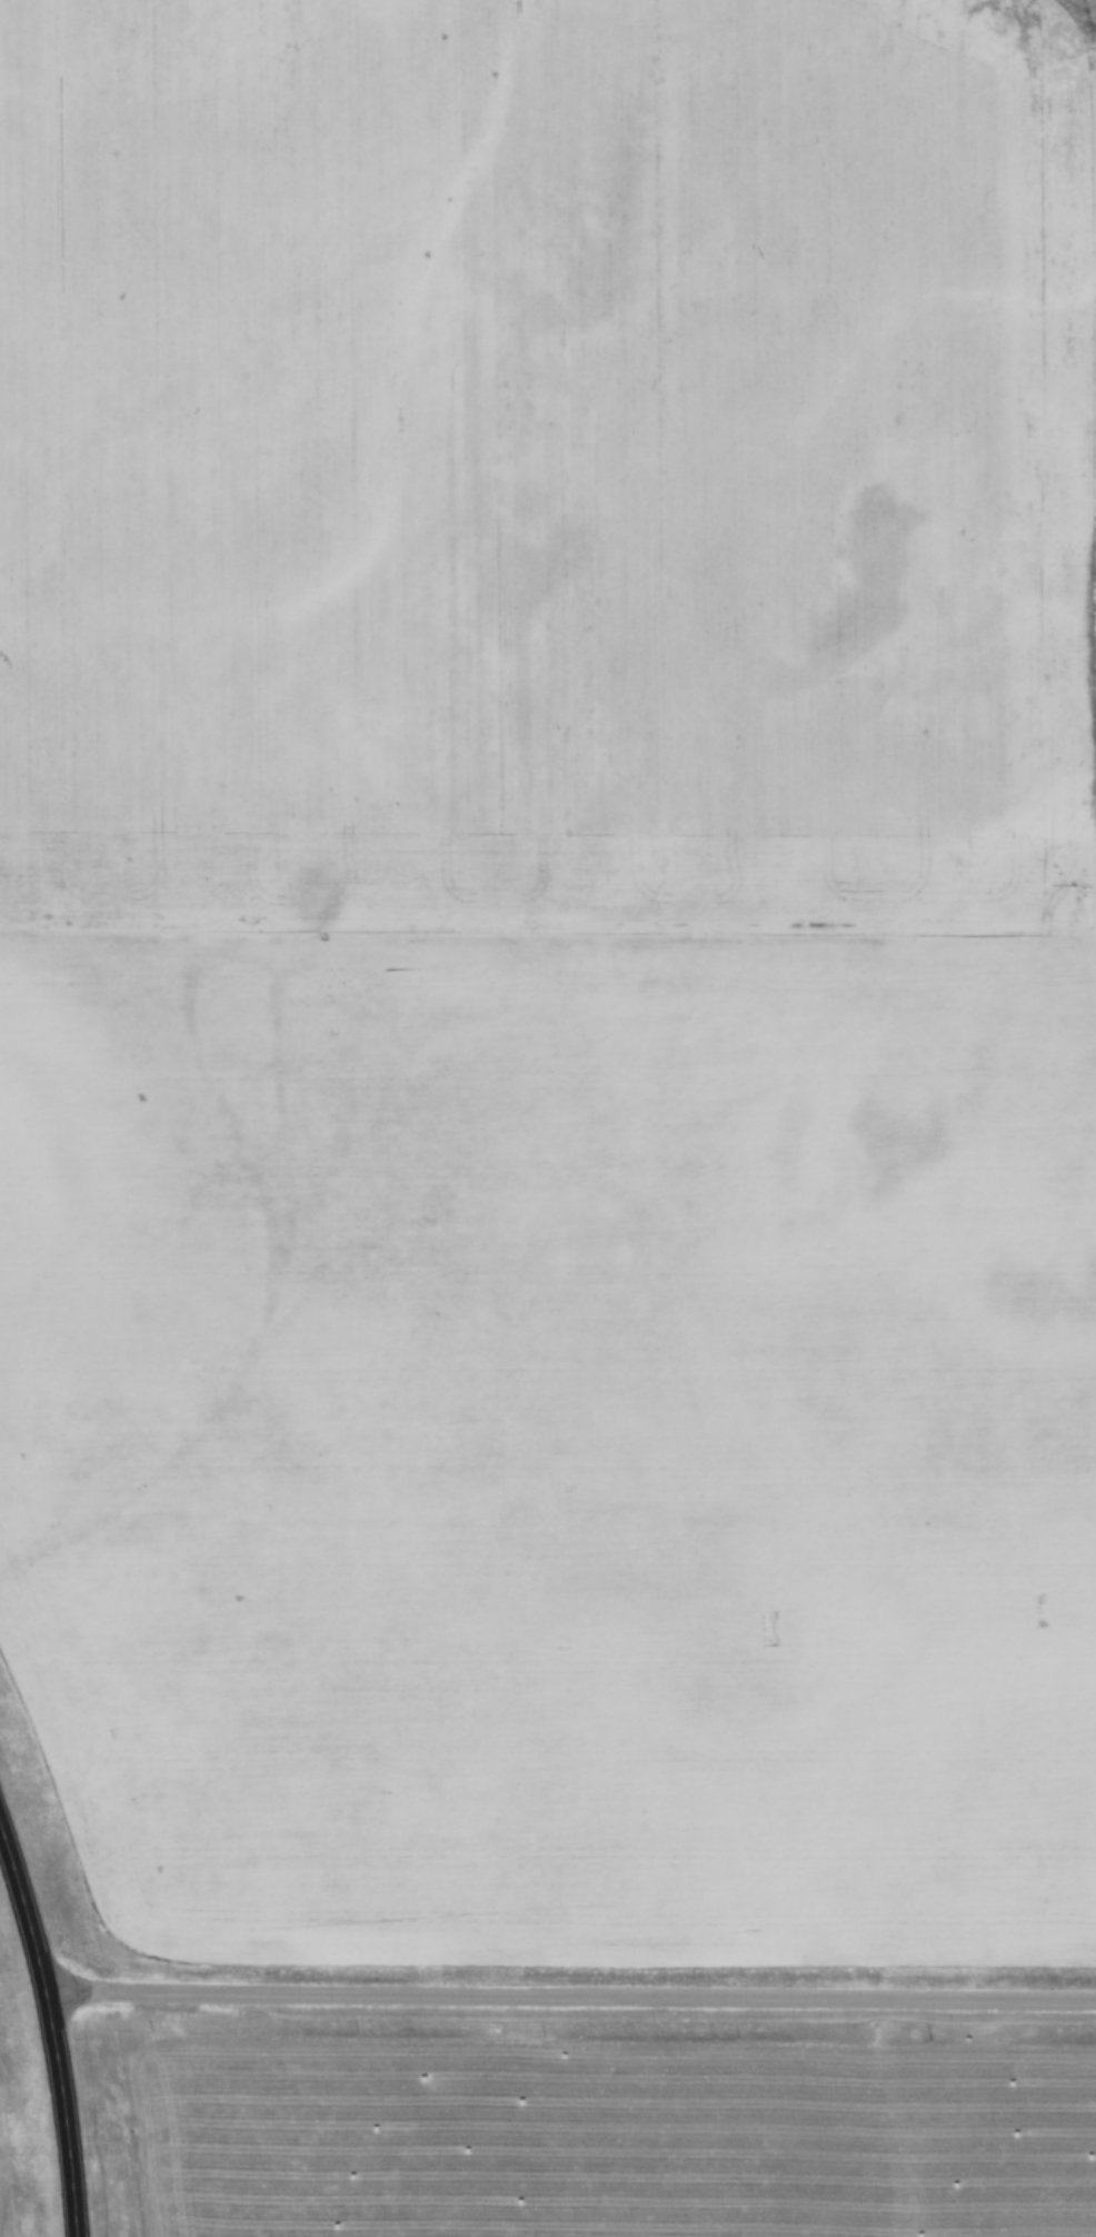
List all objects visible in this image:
road: (568, 1998)
road: (50, 2038)

